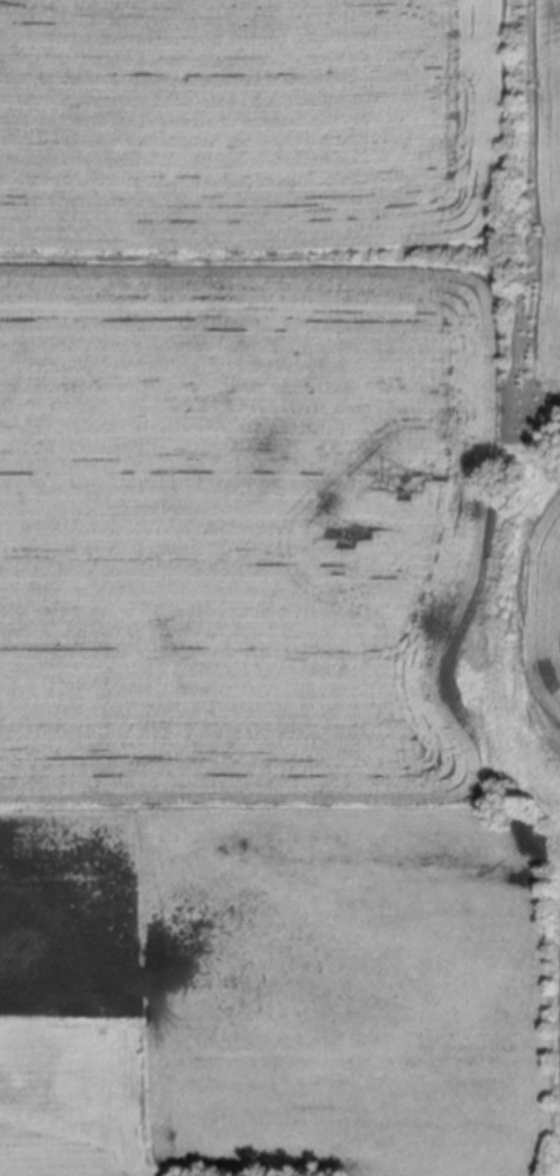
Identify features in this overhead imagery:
power tower: (412, 481)
power tower: (354, 531)

